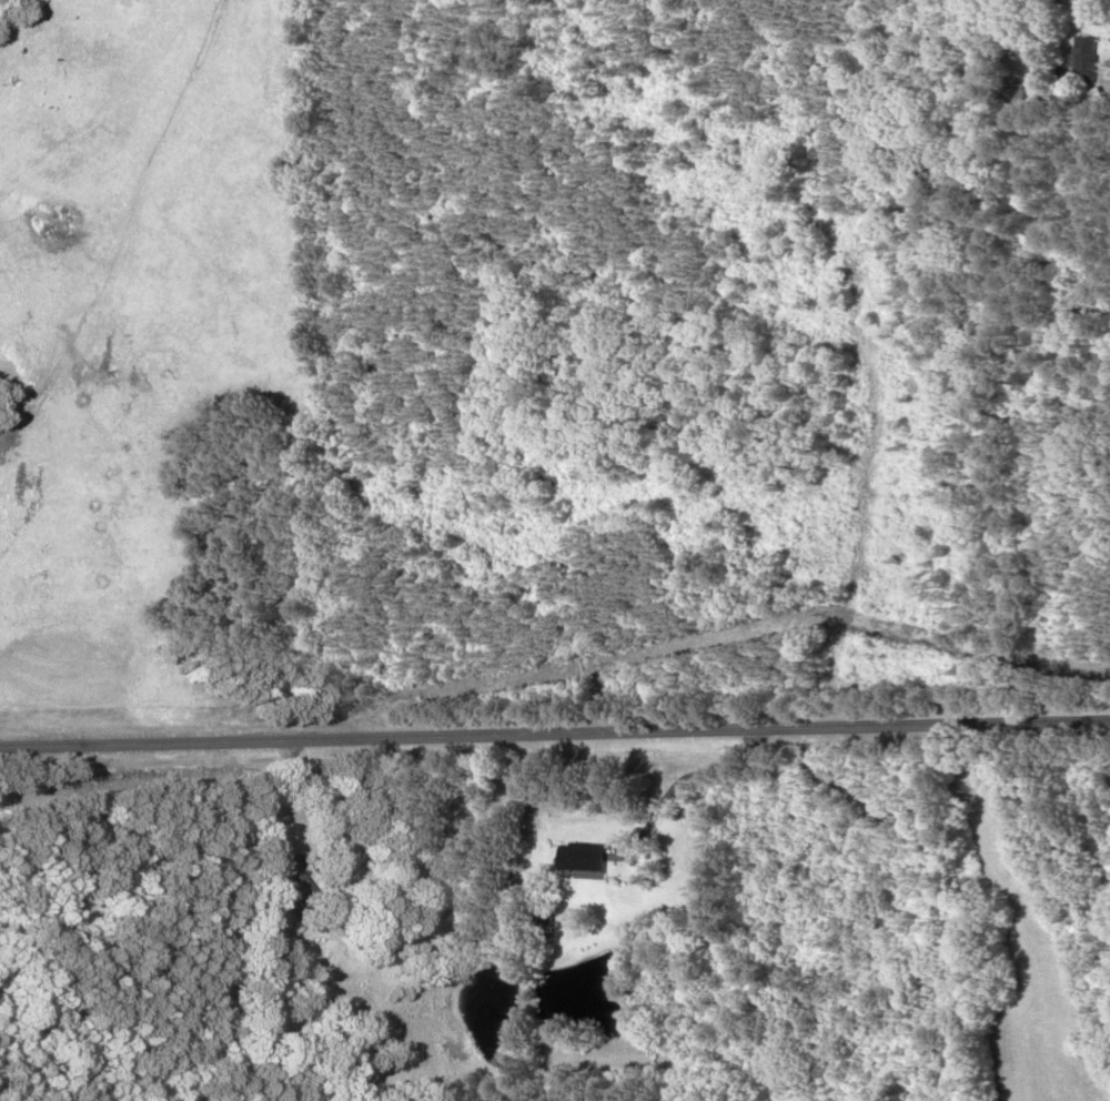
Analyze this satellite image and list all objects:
road: (818, 32)
building: (1081, 58)
road: (805, 218)
road: (555, 731)
building: (582, 859)
building: (284, 877)
building: (542, 906)

